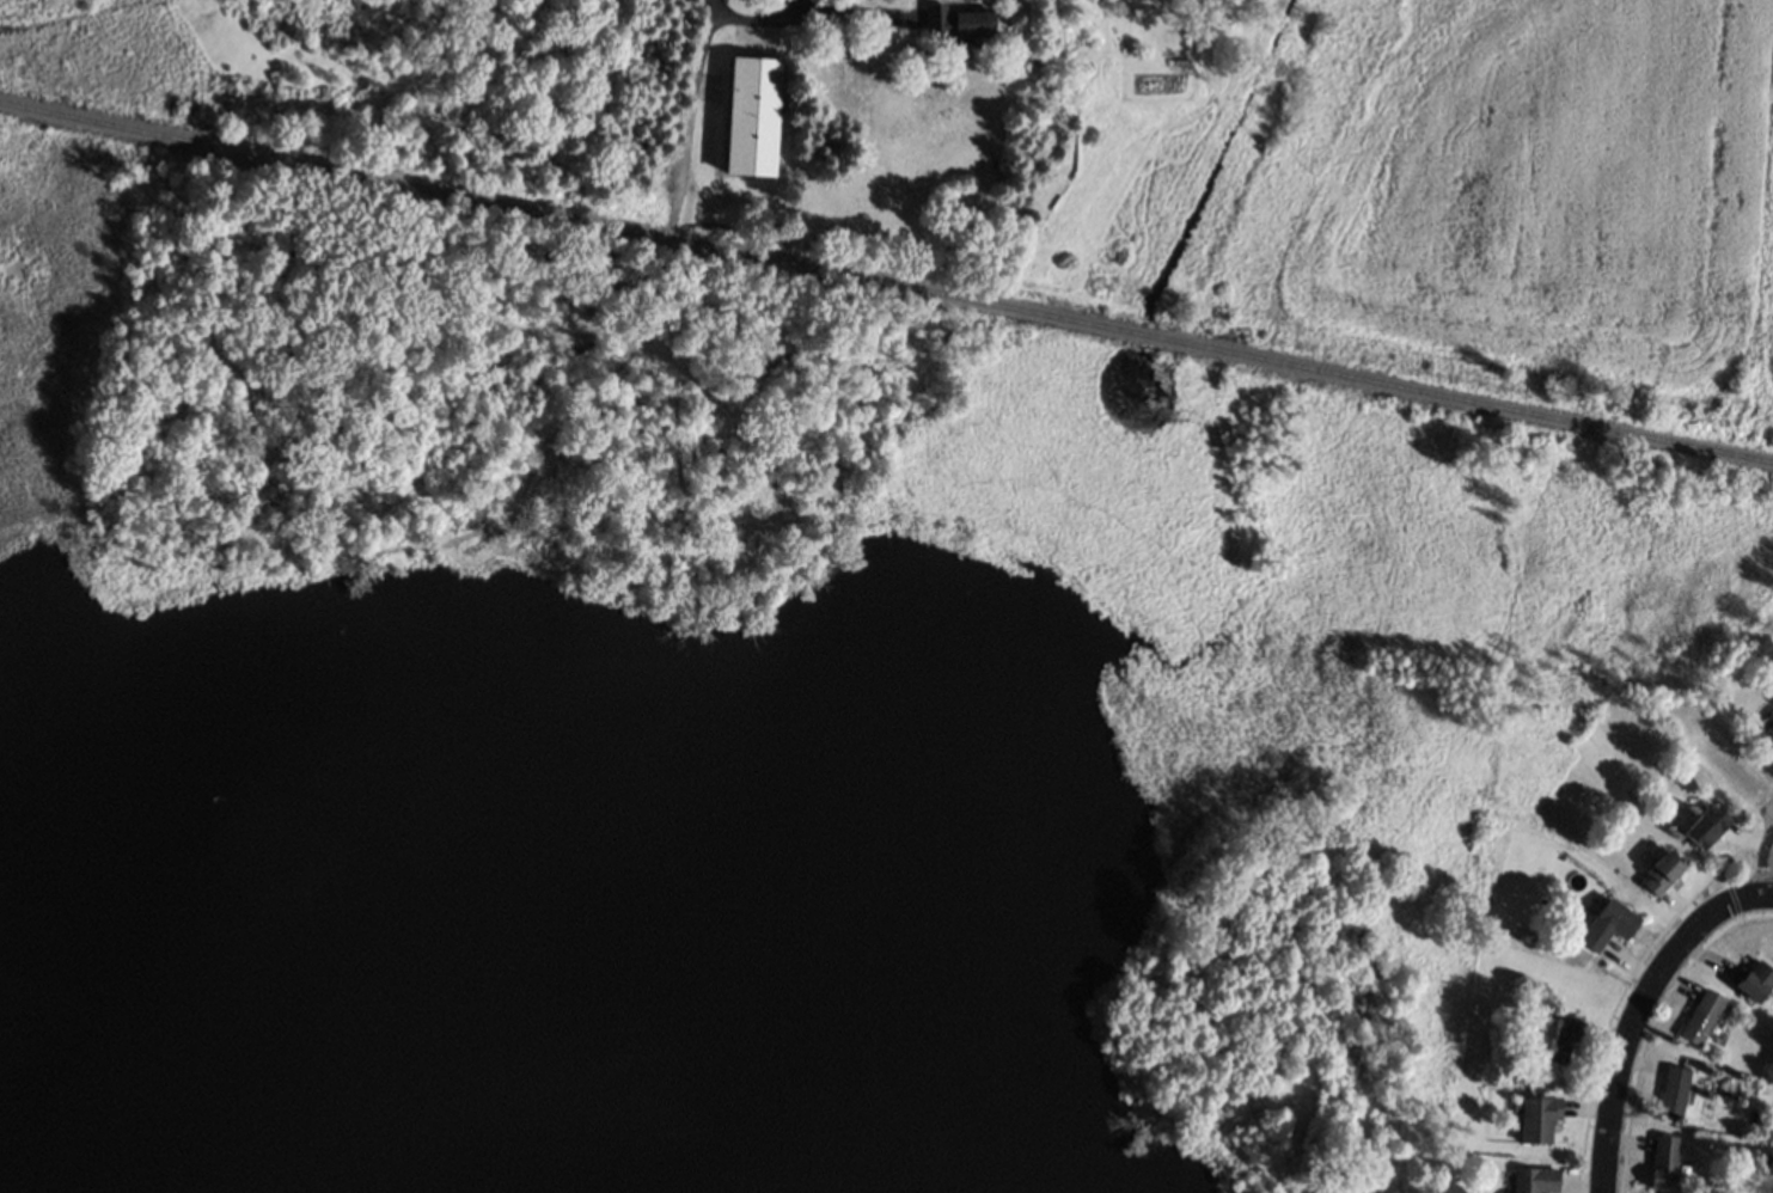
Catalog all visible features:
road: (800, 22)
building: (955, 22)
park: (378, 79)
building: (751, 114)
road: (680, 128)
crop: (1490, 197)
railway: (886, 282)
park: (1412, 661)
building: (1769, 736)
park: (20, 739)
building: (1707, 826)
building: (1664, 871)
river: (20, 917)
building: (1609, 923)
building: (1756, 981)
road: (1640, 1011)
building: (1704, 1016)
building: (1557, 1038)
river: (187, 1070)
building: (1675, 1091)
building: (1539, 1118)
building: (1767, 1158)
building: (1664, 1161)
building: (1535, 1180)

